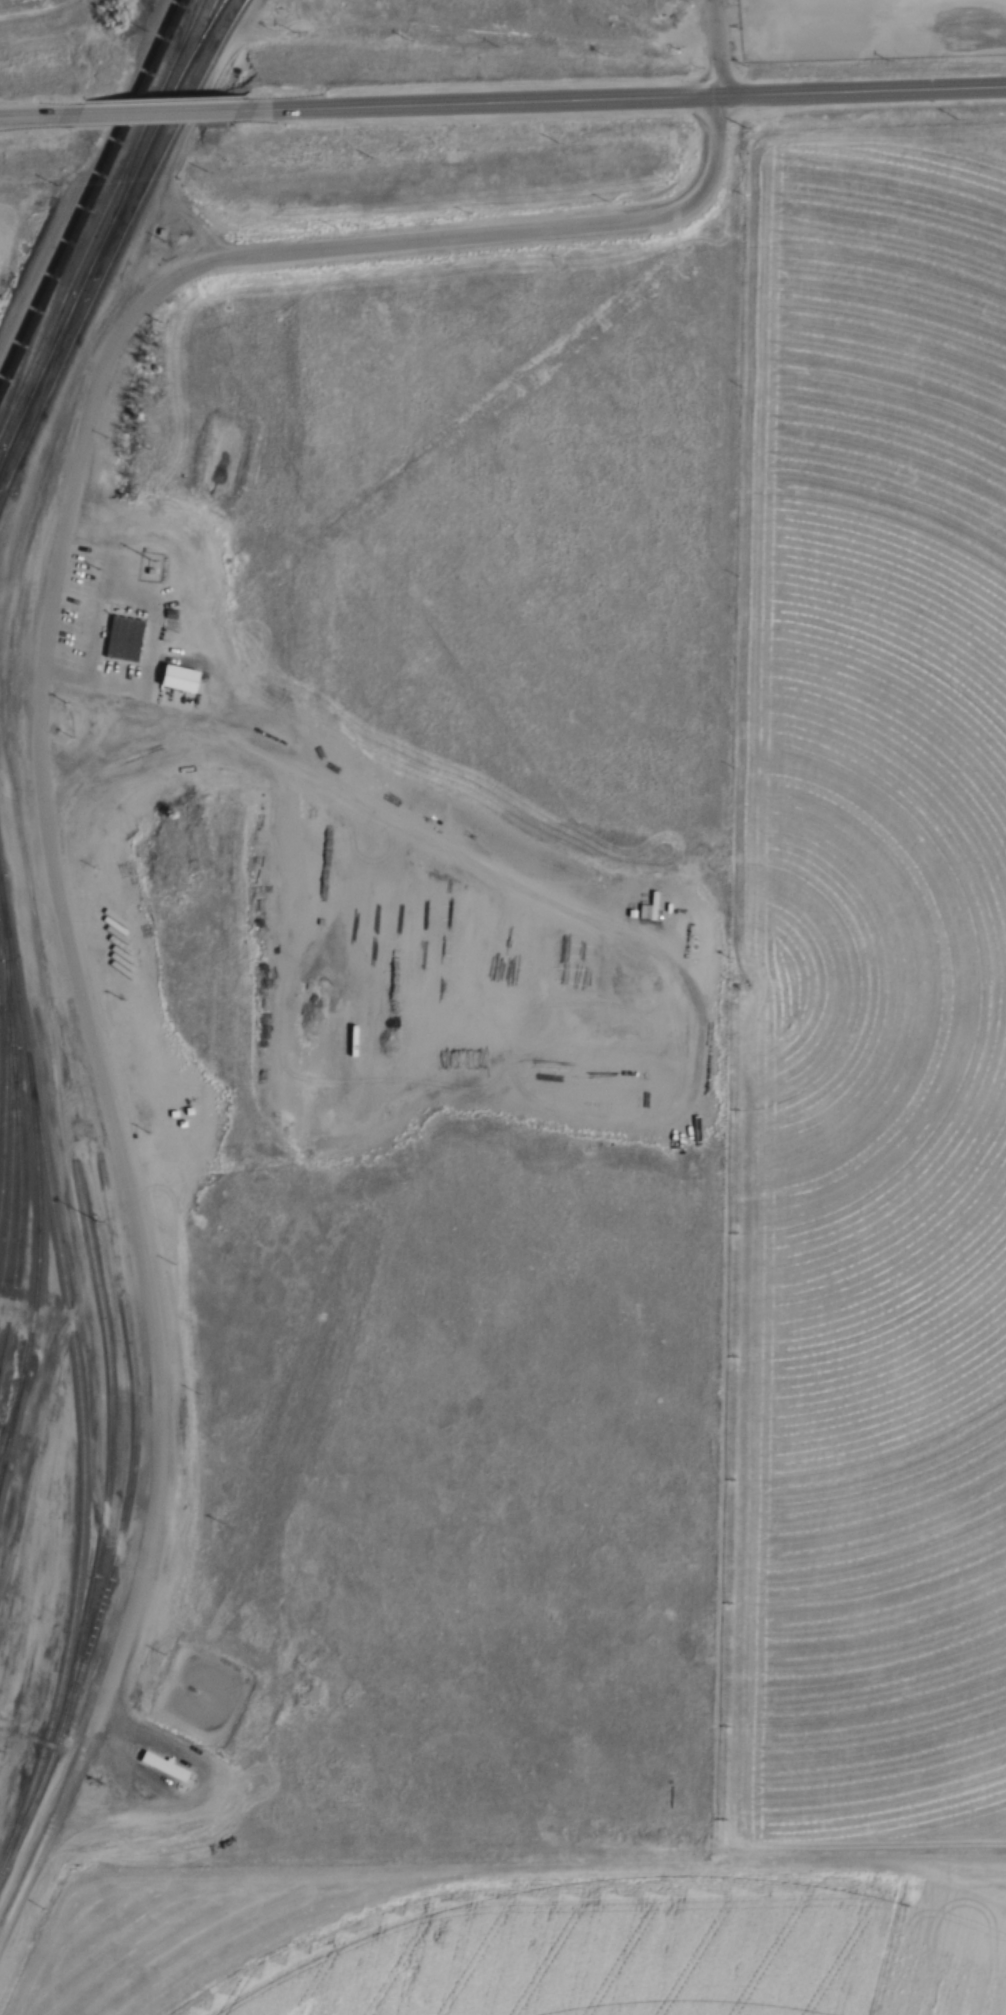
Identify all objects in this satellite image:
railway: (187, 25)
railway: (205, 25)
road: (717, 46)
road: (623, 97)
road: (157, 107)
road: (37, 111)
railway: (134, 146)
railway: (90, 193)
railway: (116, 200)
railway: (107, 232)
building: (163, 232)
railway: (117, 246)
road: (37, 274)
railway: (41, 319)
railway: (33, 362)
railway: (35, 371)
railway: (40, 390)
building: (156, 452)
building: (151, 572)
building: (167, 613)
road: (149, 616)
building: (127, 634)
road: (41, 666)
building: (178, 679)
road: (227, 740)
road: (63, 774)
road: (577, 912)
road: (357, 951)
building: (643, 965)
railway: (13, 978)
railway: (3, 1065)
building: (658, 1081)
railway: (15, 1129)
railway: (8, 1176)
railway: (36, 1215)
railway: (11, 1407)
railway: (10, 1418)
railway: (107, 1444)
railway: (130, 1444)
railway: (80, 1466)
road: (91, 1728)
road: (41, 1737)
road: (169, 1741)
building: (164, 1764)
road: (136, 1773)
railway: (34, 1791)
road: (63, 1795)
road: (115, 1816)
road: (21, 1894)

